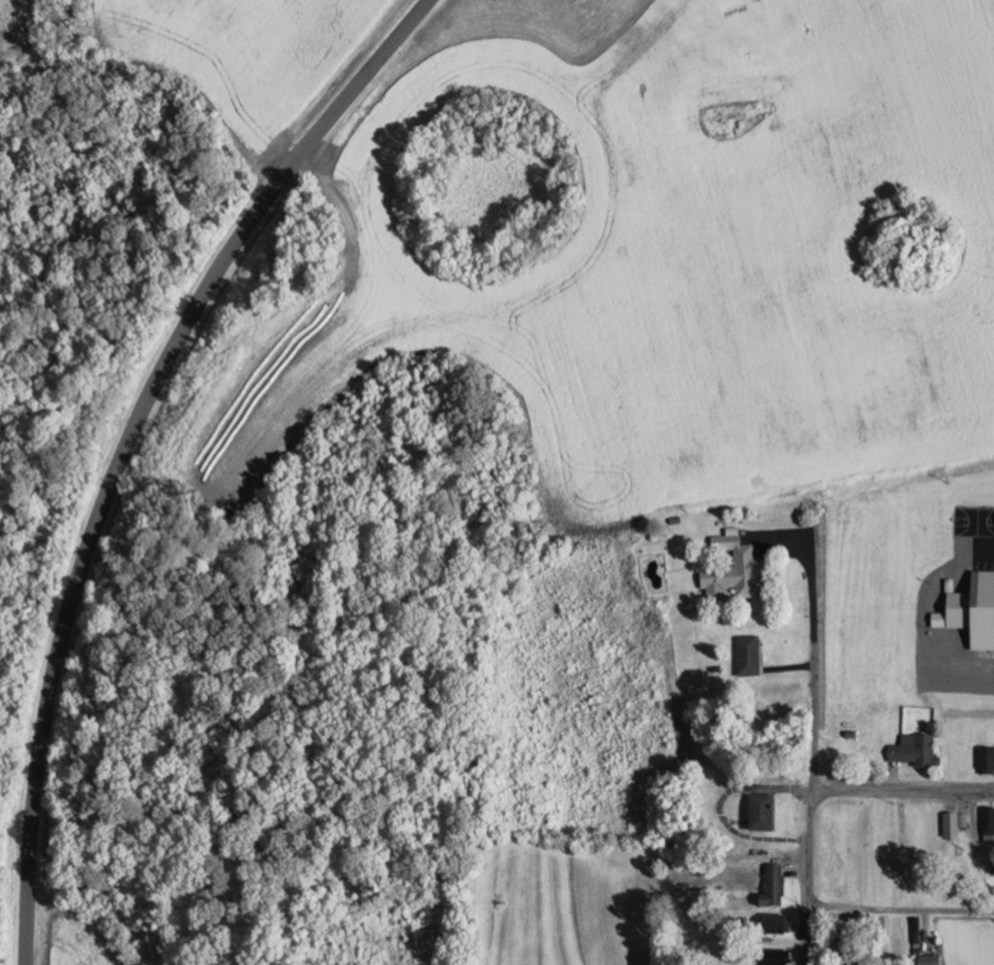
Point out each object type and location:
road: (128, 441)
park: (974, 518)
road: (794, 547)
parking lot: (983, 549)
building: (729, 573)
building: (974, 608)
road: (921, 616)
building: (745, 658)
road: (790, 665)
building: (911, 750)
building: (761, 754)
building: (984, 757)
road: (812, 765)
road: (891, 778)
road: (902, 791)
road: (719, 807)
road: (968, 807)
building: (757, 815)
building: (985, 820)
building: (949, 824)
building: (768, 887)
road: (901, 907)
building: (772, 922)
road: (919, 927)
building: (770, 953)
building: (926, 959)

